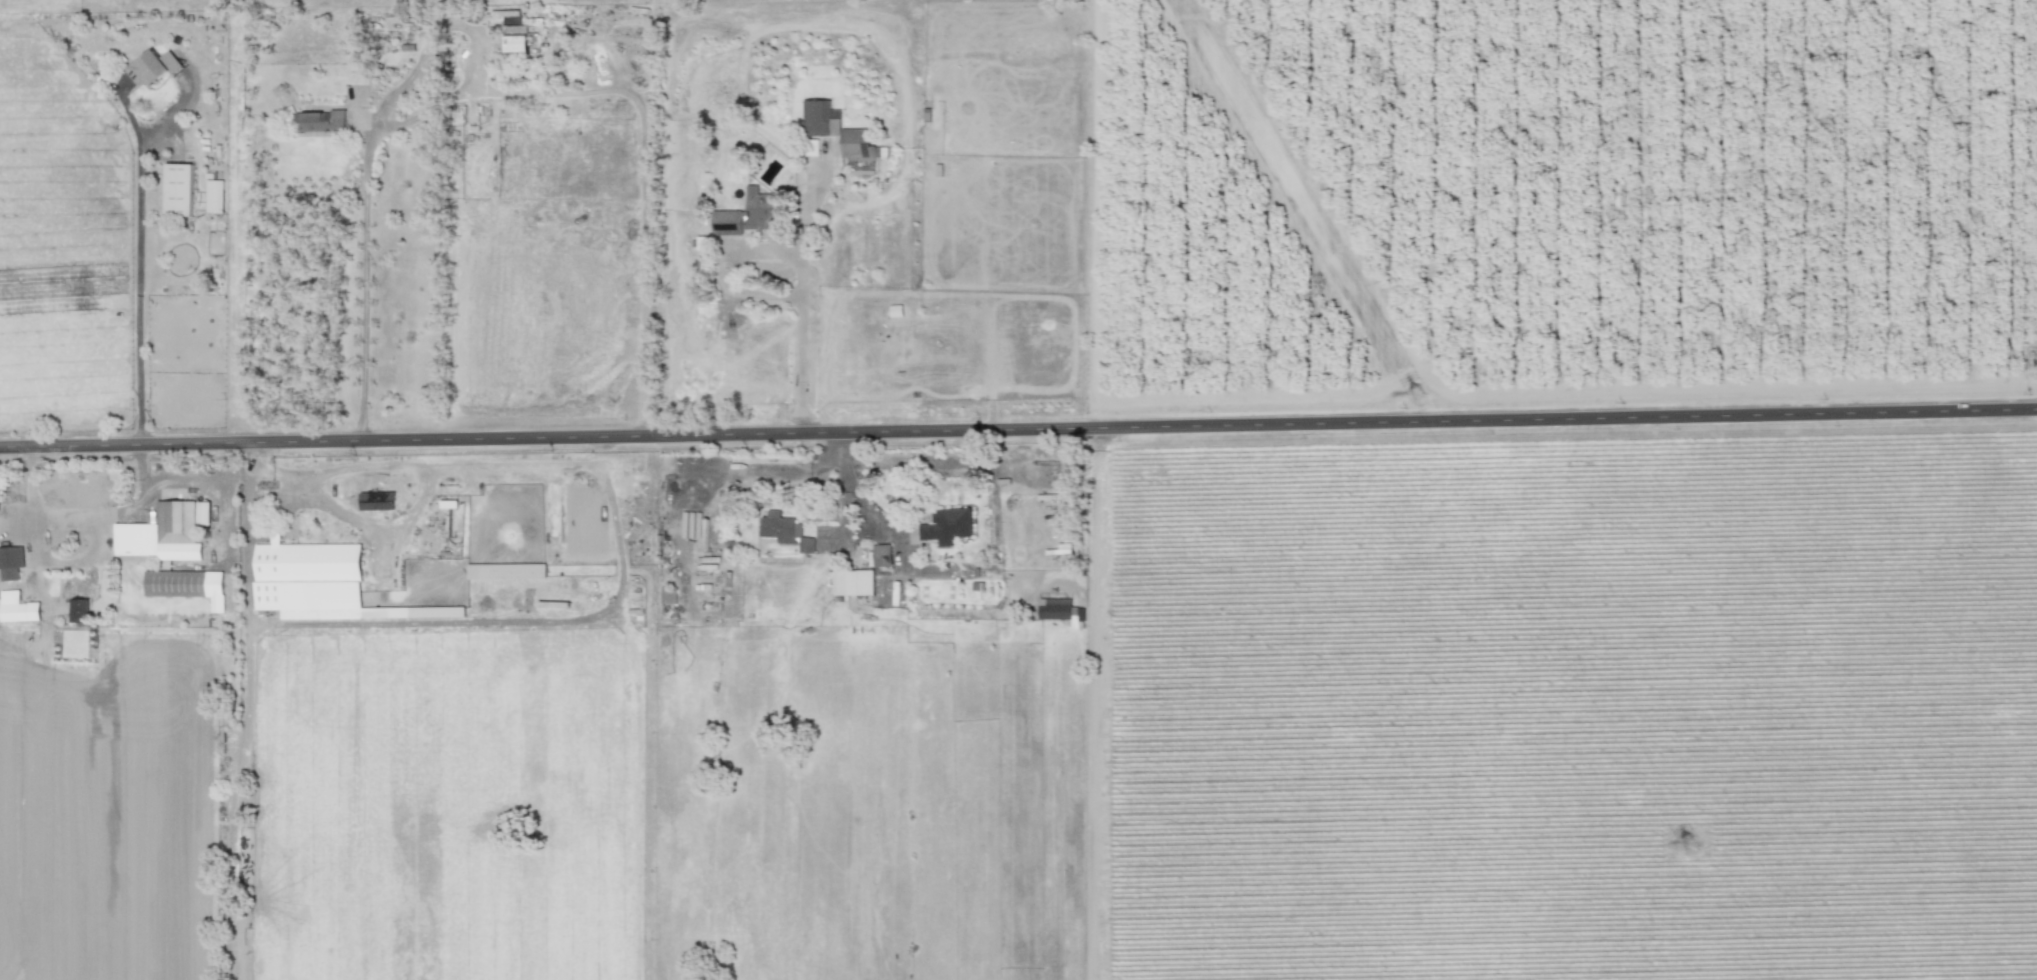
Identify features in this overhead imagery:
building: (516, 39)
building: (154, 68)
road: (476, 75)
road: (424, 87)
road: (427, 107)
building: (819, 118)
building: (321, 120)
building: (859, 148)
building: (178, 189)
building: (214, 196)
building: (748, 214)
building: (702, 242)
road: (139, 262)
road: (801, 284)
building: (905, 310)
power tower: (1408, 389)
road: (1018, 429)
road: (848, 480)
building: (203, 513)
building: (947, 525)
building: (784, 529)
building: (162, 533)
building: (882, 555)
building: (11, 562)
building: (506, 571)
building: (309, 580)
building: (852, 582)
building: (187, 585)
building: (79, 598)
building: (17, 607)
road: (246, 711)
power tower: (1682, 845)

